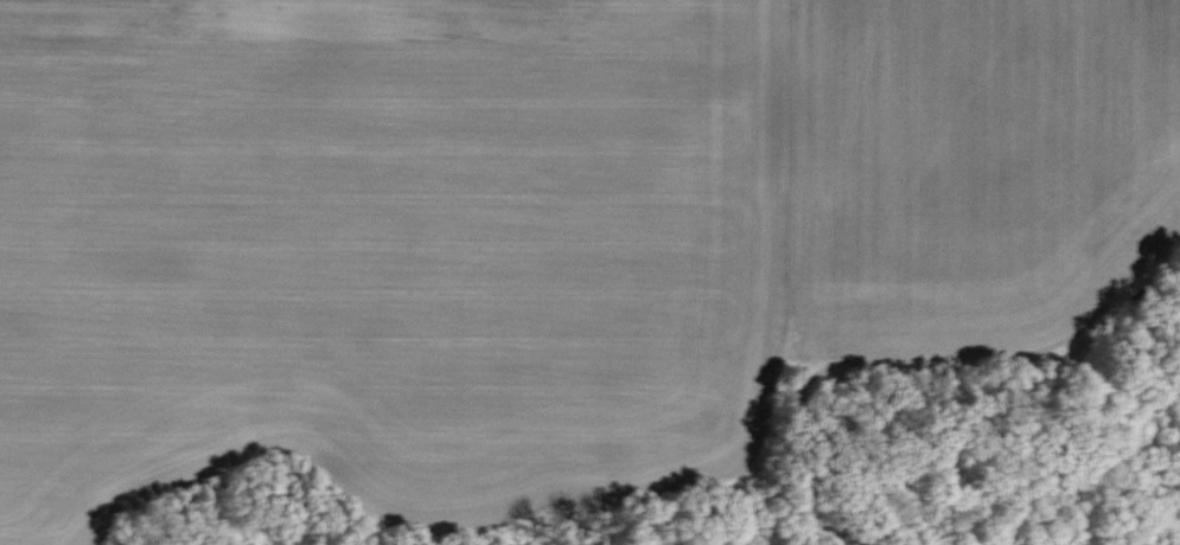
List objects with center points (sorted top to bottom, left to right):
crop: (382, 248)

